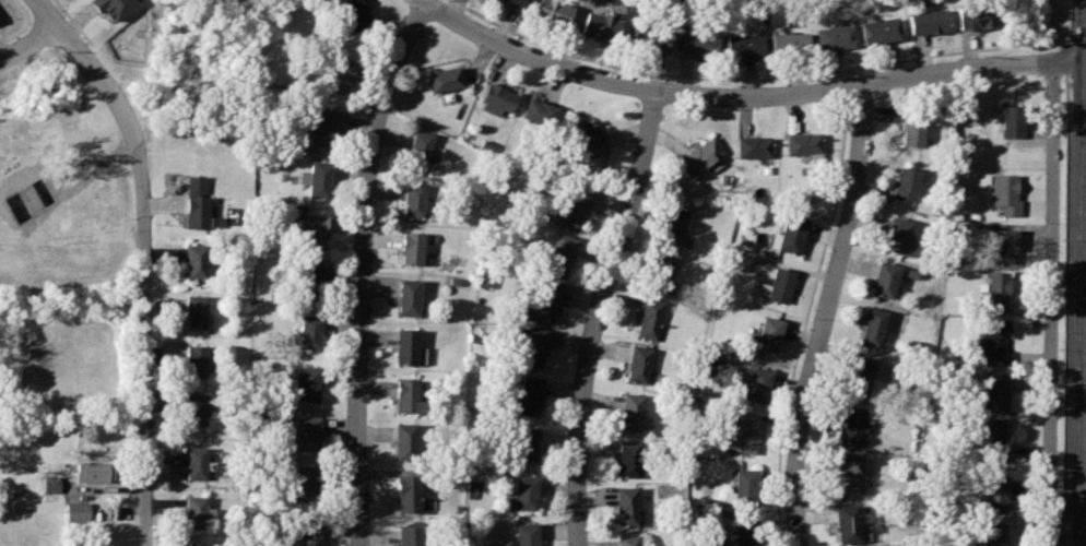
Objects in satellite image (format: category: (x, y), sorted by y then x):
building: (510, 2)
building: (113, 7)
road: (449, 7)
road: (24, 9)
building: (551, 11)
road: (46, 12)
building: (352, 13)
building: (970, 17)
road: (37, 19)
park: (1028, 21)
road: (73, 22)
building: (924, 22)
building: (597, 25)
building: (875, 31)
road: (15, 32)
building: (830, 37)
building: (649, 38)
road: (28, 43)
building: (695, 43)
building: (786, 44)
road: (1073, 45)
building: (740, 46)
road: (1062, 59)
building: (337, 73)
road: (720, 76)
building: (445, 79)
road: (840, 82)
road: (745, 94)
building: (497, 99)
building: (540, 111)
building: (1008, 119)
building: (324, 127)
building: (912, 128)
building: (589, 135)
building: (805, 143)
building: (420, 145)
building: (754, 145)
building: (701, 155)
building: (315, 179)
building: (906, 180)
building: (1004, 192)
building: (414, 198)
building: (197, 202)
building: (572, 207)
building: (672, 226)
building: (309, 230)
building: (790, 232)
building: (898, 235)
building: (1001, 244)
building: (411, 246)
building: (559, 252)
building: (197, 260)
road: (362, 269)
building: (658, 271)
road: (1079, 272)
road: (144, 273)
building: (913, 273)
building: (307, 277)
building: (885, 277)
road: (1083, 282)
building: (779, 284)
building: (993, 288)
building: (408, 295)
building: (543, 301)
road: (1051, 305)
road: (1064, 308)
building: (194, 309)
road: (597, 314)
road: (825, 314)
building: (647, 316)
road: (804, 320)
building: (873, 324)
building: (309, 330)
building: (768, 331)
building: (992, 335)
building: (532, 344)
building: (406, 345)
building: (196, 358)
building: (636, 364)
building: (859, 375)
building: (307, 380)
building: (756, 383)
building: (995, 392)
building: (409, 394)
building: (524, 394)
building: (196, 406)
building: (627, 410)
building: (849, 423)
building: (308, 431)
building: (744, 434)
building: (989, 437)
building: (404, 440)
building: (524, 443)
building: (624, 456)
building: (196, 460)
building: (91, 470)
building: (849, 470)
building: (308, 483)
building: (741, 485)
building: (50, 487)
road: (105, 488)
building: (406, 491)
building: (524, 491)
building: (994, 491)
building: (623, 503)
building: (76, 509)
building: (196, 510)
building: (847, 520)
building: (310, 531)
building: (744, 532)
building: (524, 533)
building: (992, 533)
building: (408, 535)
building: (626, 541)
building: (193, 545)

